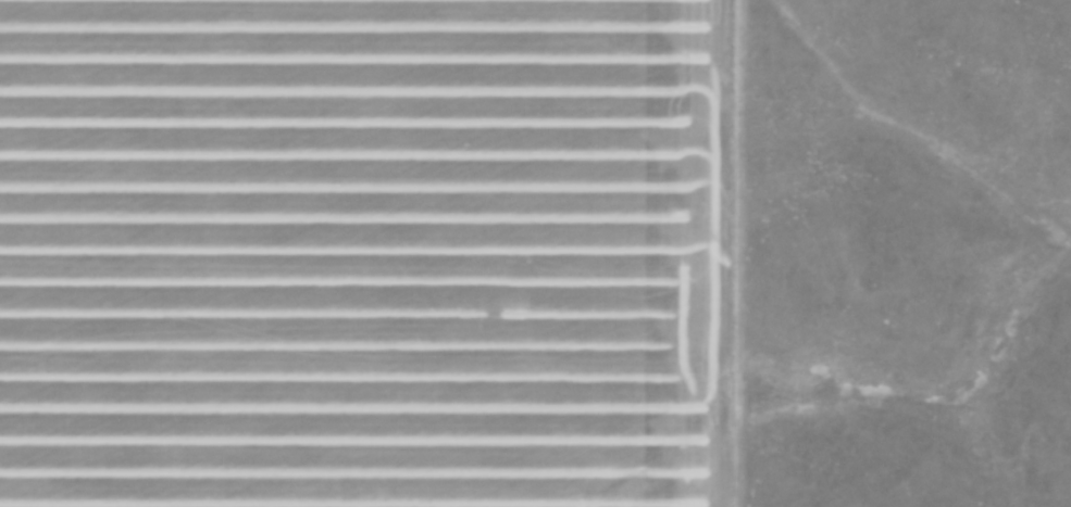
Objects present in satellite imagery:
crop: (363, 253)

